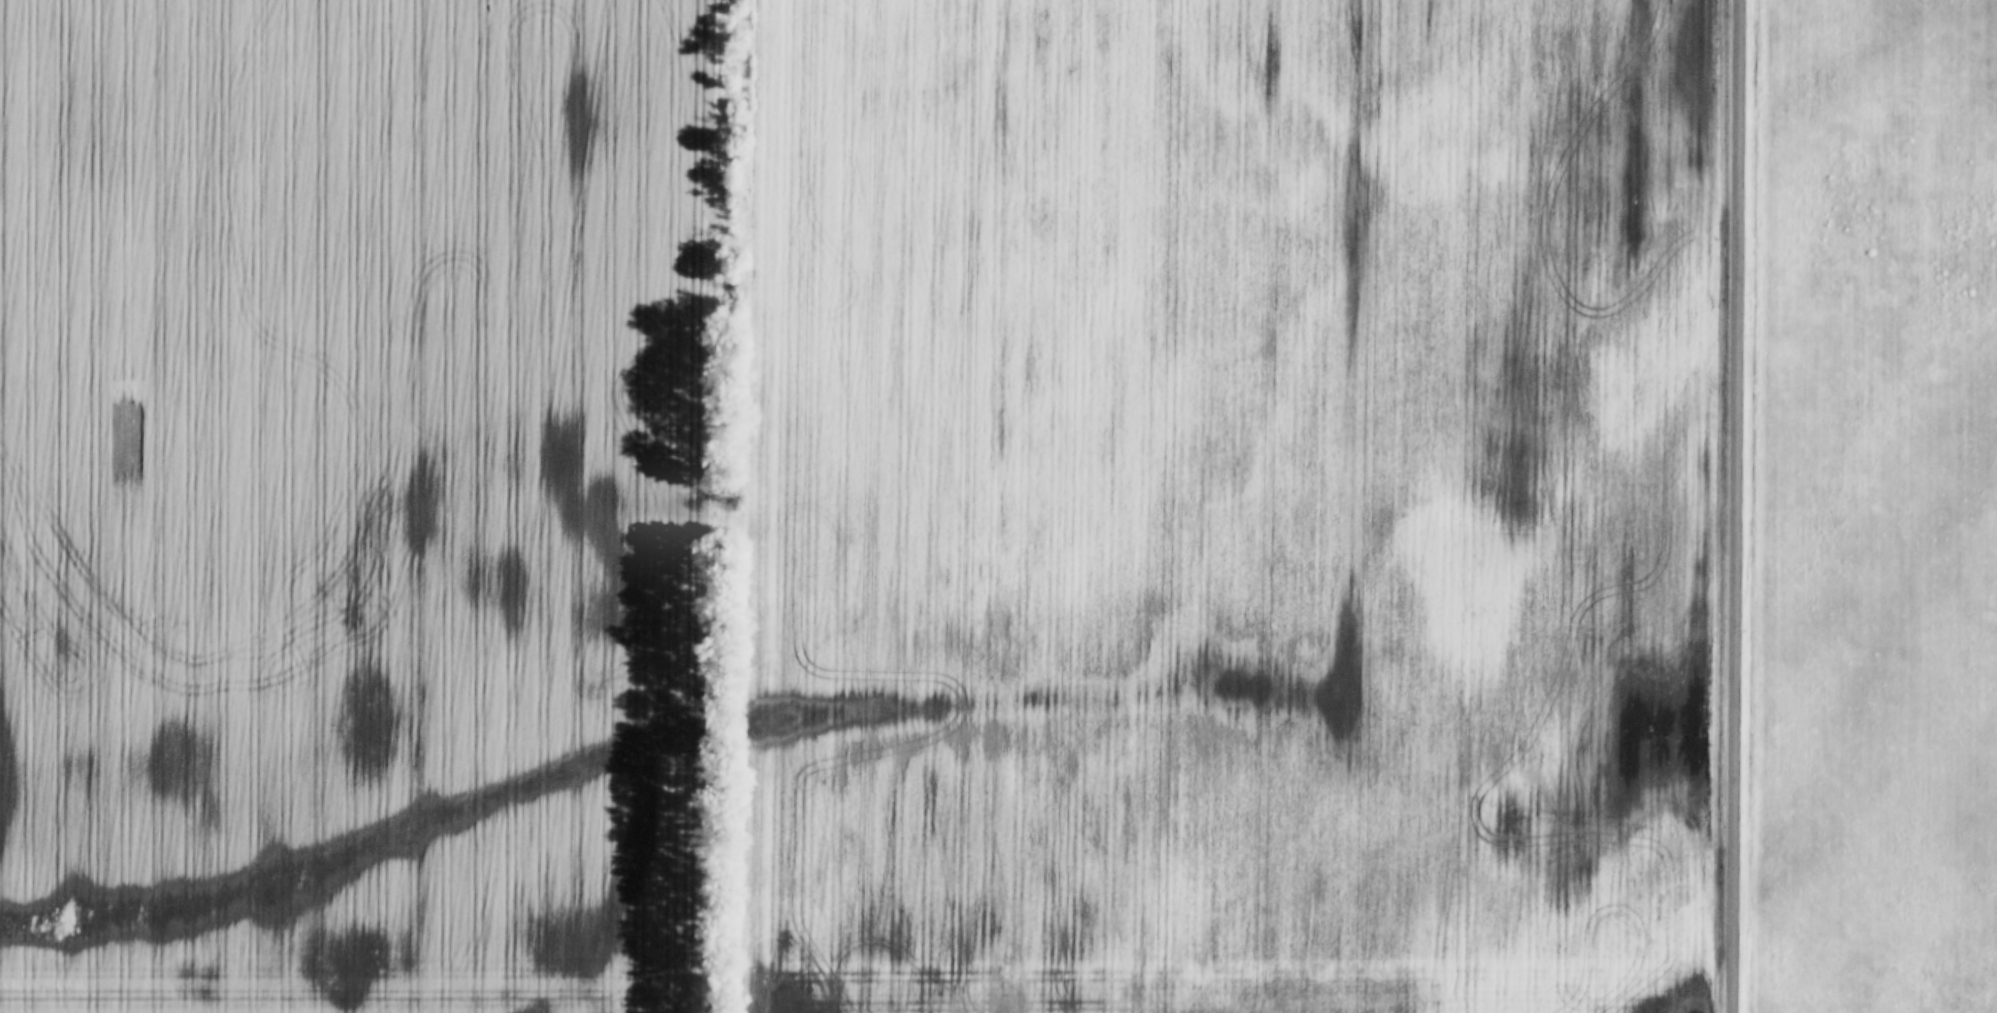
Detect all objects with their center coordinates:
road: (1739, 506)

